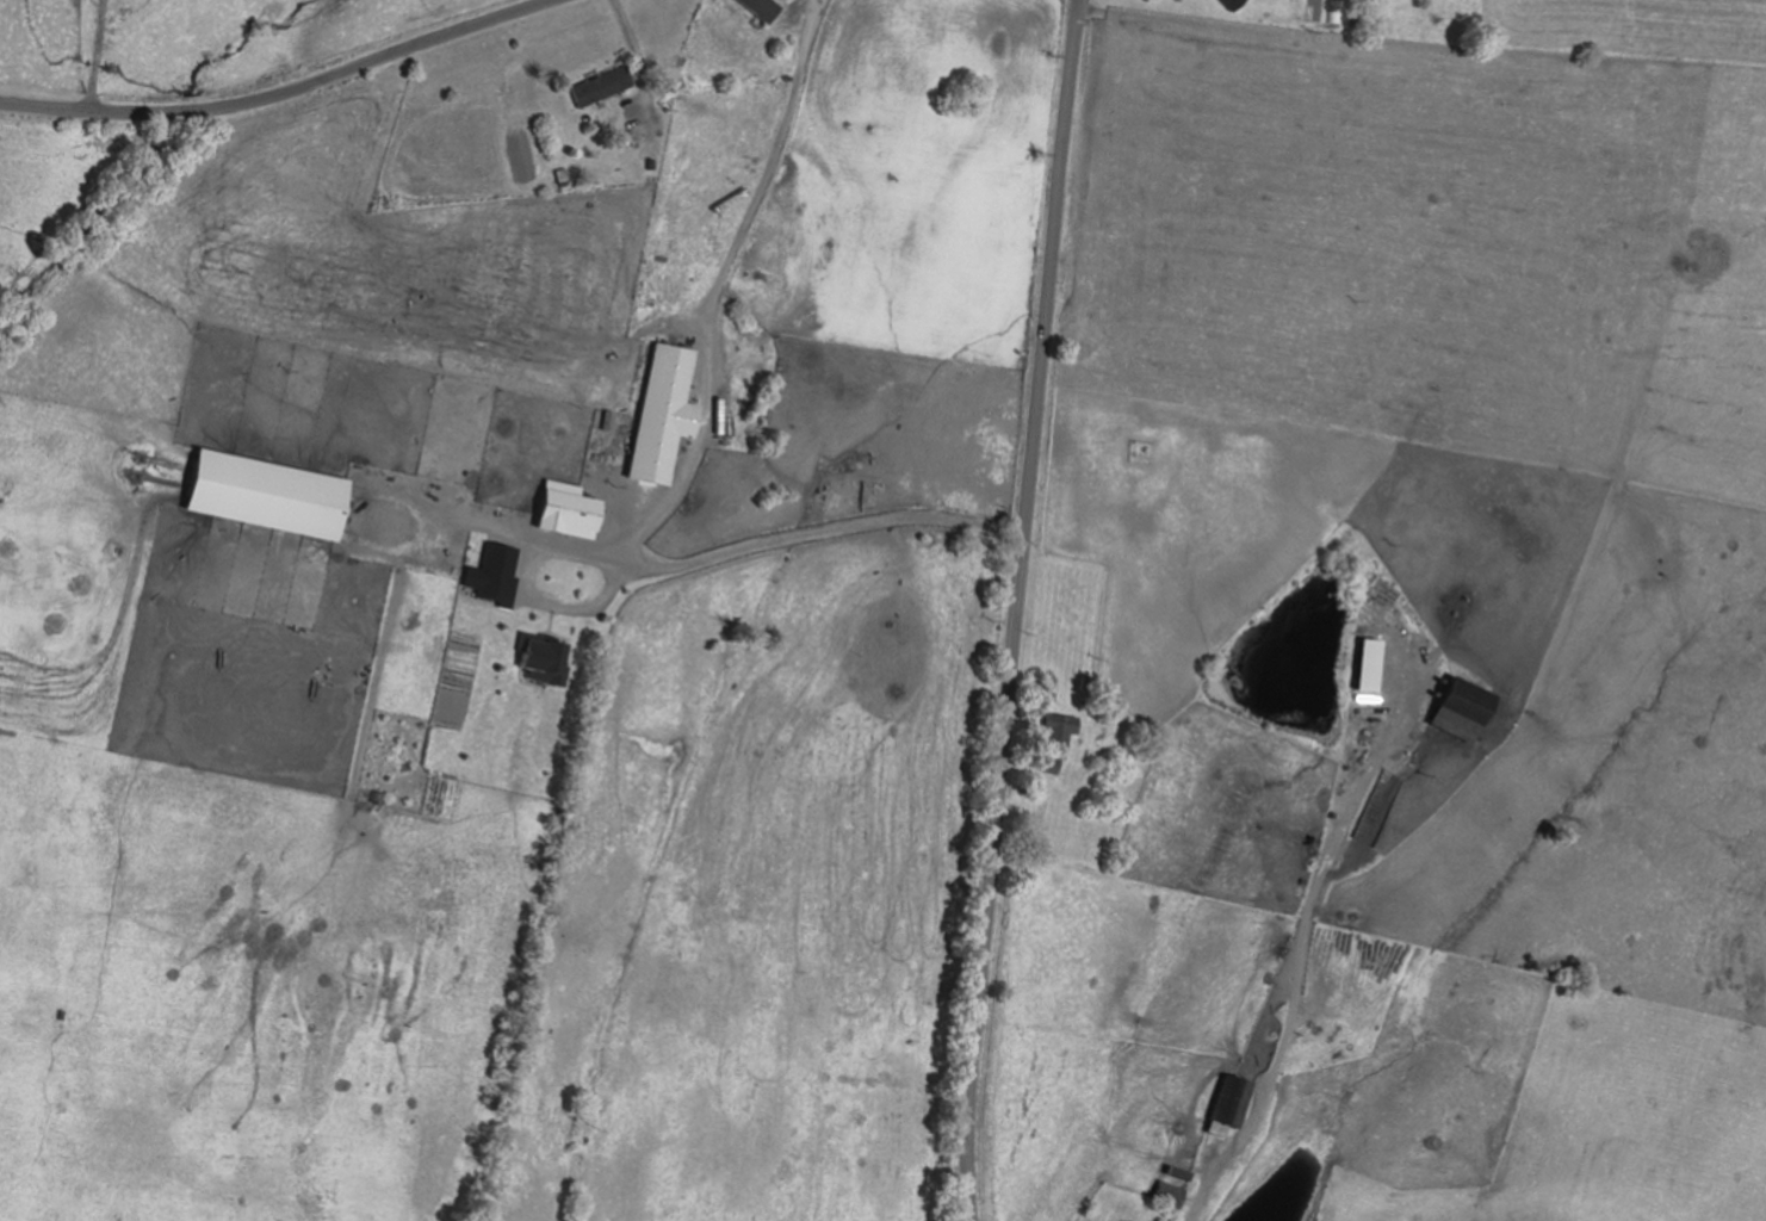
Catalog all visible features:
building: (1228, 4)
building: (757, 8)
building: (600, 87)
road: (286, 93)
road: (1016, 609)
building: (1458, 700)
building: (1055, 735)
building: (1376, 811)
building: (1226, 1104)
building: (1175, 1174)
building: (1166, 1195)

